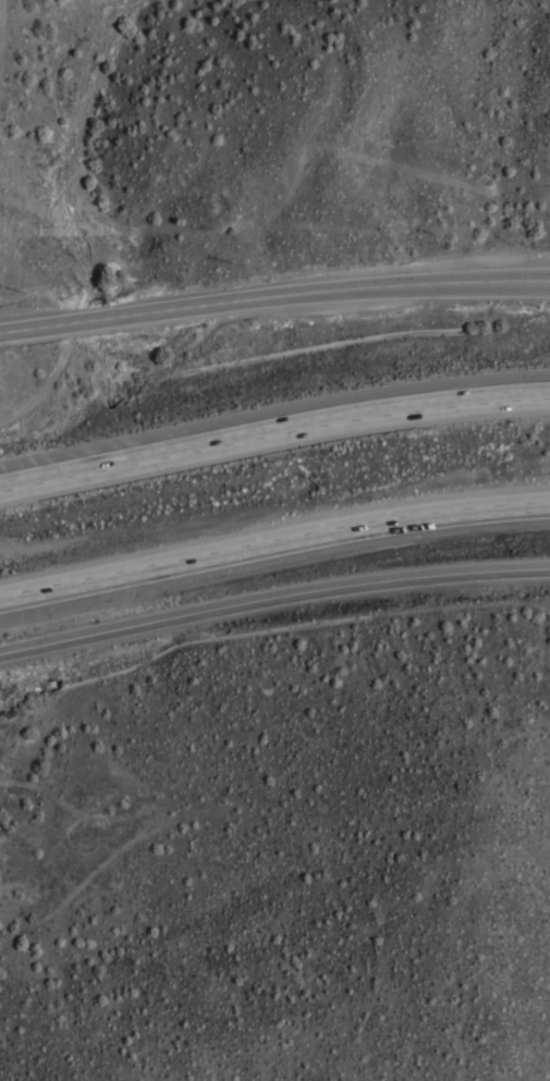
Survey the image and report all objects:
road: (273, 295)
road: (272, 421)
road: (272, 529)
road: (272, 586)

